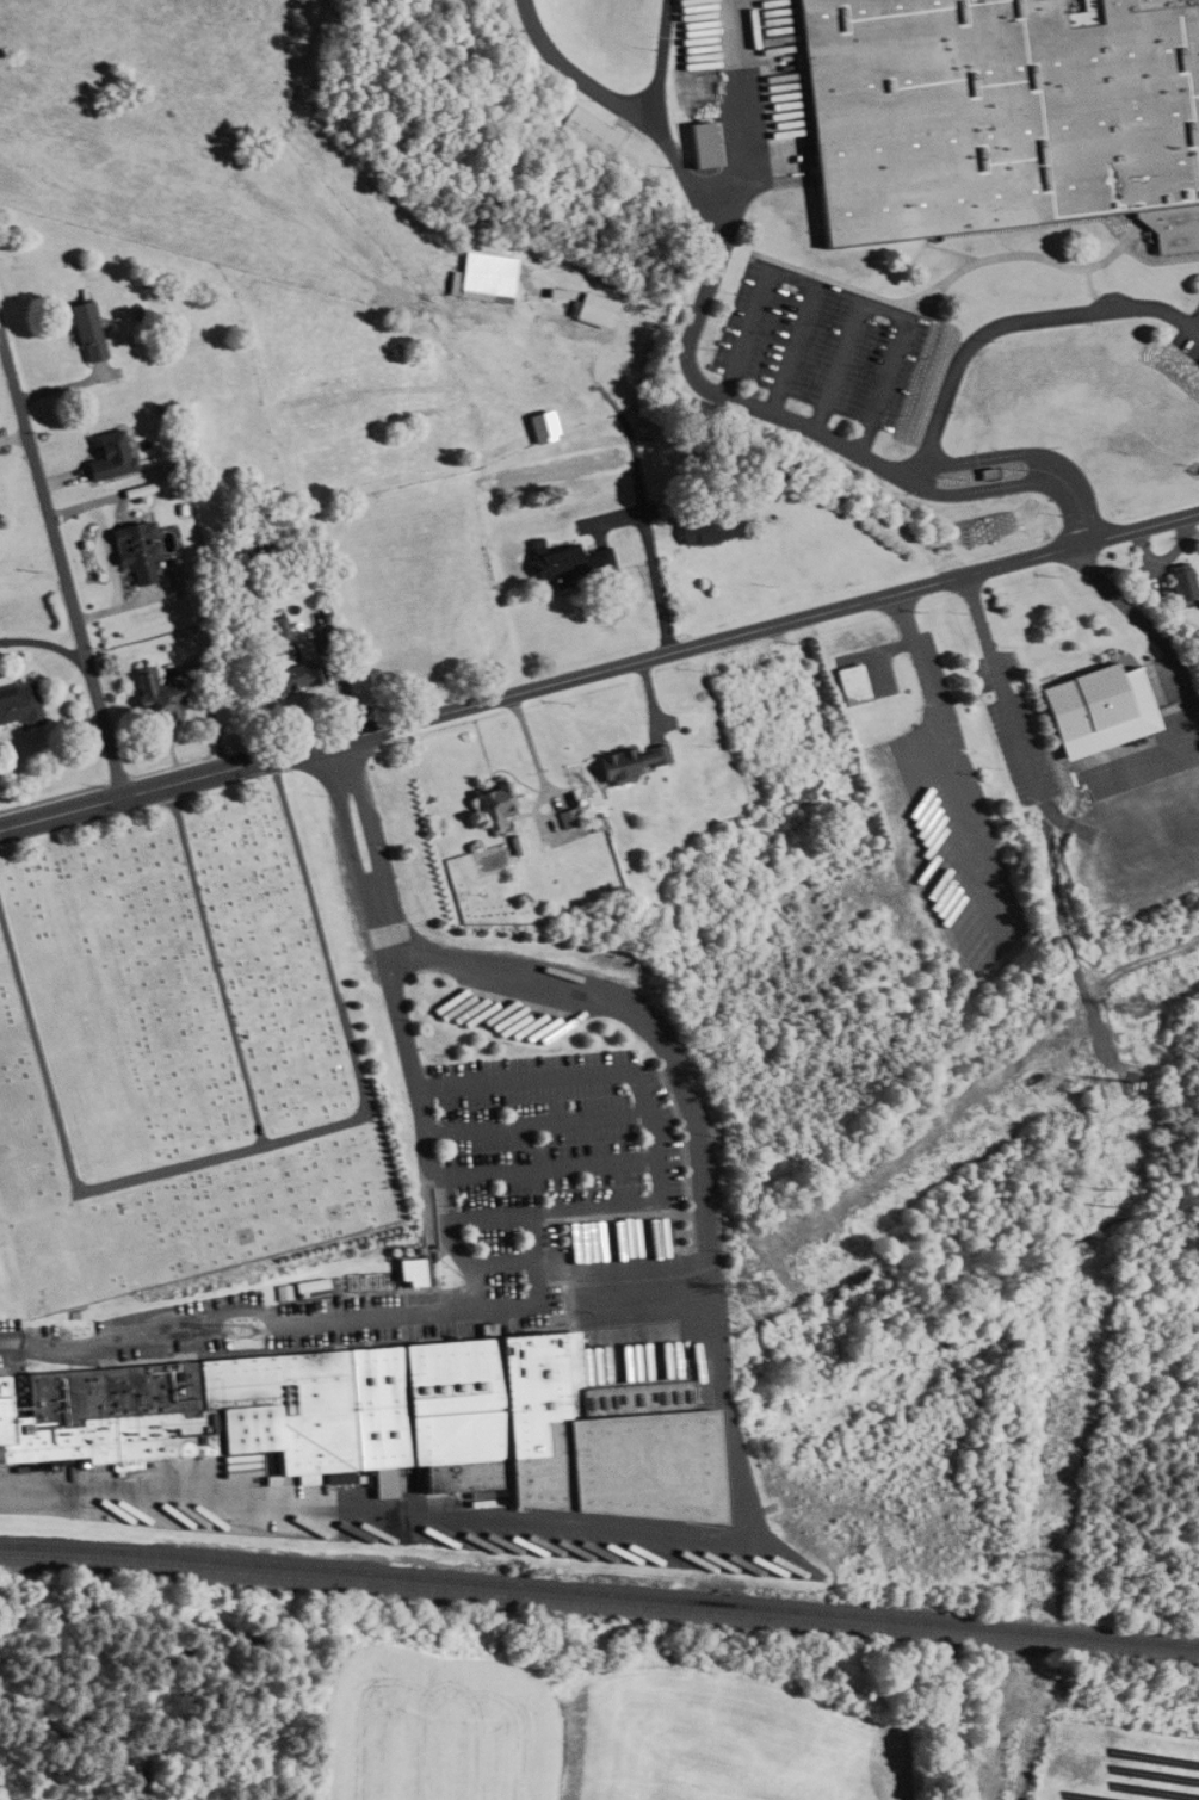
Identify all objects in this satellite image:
building: (1002, 117)
building: (585, 131)
building: (699, 143)
road: (712, 268)
road: (791, 274)
building: (484, 287)
road: (890, 313)
building: (588, 314)
road: (1020, 321)
building: (84, 330)
building: (540, 427)
building: (106, 456)
road: (981, 458)
road: (979, 488)
road: (1077, 500)
building: (580, 527)
building: (704, 530)
building: (129, 552)
building: (569, 562)
road: (62, 564)
road: (653, 574)
building: (1179, 582)
road: (789, 620)
building: (302, 650)
building: (291, 676)
building: (851, 685)
road: (1002, 689)
building: (155, 698)
building: (1092, 700)
building: (18, 704)
road: (338, 755)
road: (951, 756)
building: (628, 762)
road: (171, 766)
road: (117, 779)
road: (190, 779)
building: (802, 792)
road: (52, 796)
building: (490, 804)
building: (564, 818)
road: (375, 892)
park: (174, 1050)
road: (536, 1127)
road: (697, 1127)
road: (648, 1134)
road: (545, 1173)
road: (530, 1242)
road: (446, 1307)
building: (383, 1424)
railway: (599, 1591)

